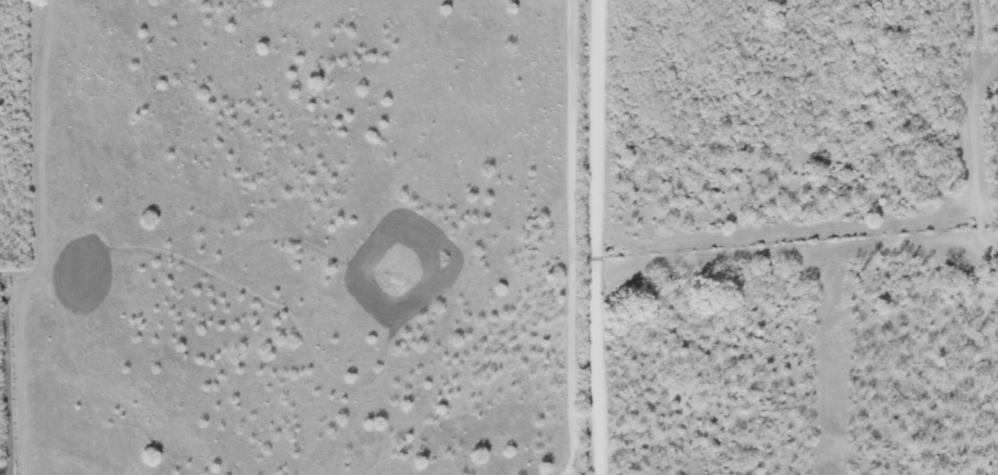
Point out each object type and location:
road: (601, 237)
road: (570, 238)

